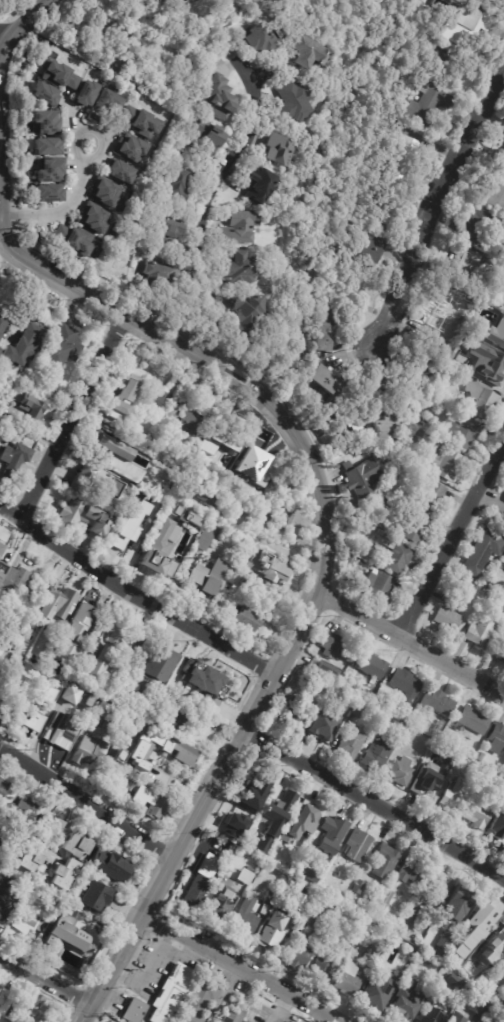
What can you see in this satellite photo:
building: (464, 26)
building: (256, 40)
road: (3, 43)
building: (447, 48)
building: (307, 52)
building: (447, 64)
road: (265, 73)
building: (59, 75)
building: (45, 94)
building: (84, 94)
building: (219, 98)
building: (293, 100)
road: (0, 101)
building: (426, 104)
building: (102, 107)
building: (143, 122)
building: (44, 123)
building: (205, 135)
building: (45, 147)
building: (131, 150)
building: (281, 153)
building: (400, 159)
building: (503, 161)
building: (48, 170)
building: (118, 172)
road: (220, 175)
building: (179, 185)
building: (260, 186)
building: (46, 193)
building: (103, 193)
building: (494, 198)
road: (433, 206)
road: (67, 207)
building: (384, 212)
road: (0, 220)
building: (92, 220)
building: (477, 226)
building: (238, 227)
building: (169, 234)
building: (74, 240)
building: (368, 251)
building: (465, 262)
building: (240, 270)
building: (164, 275)
building: (443, 311)
building: (246, 314)
building: (2, 322)
road: (193, 322)
road: (212, 331)
building: (322, 333)
building: (479, 333)
building: (502, 333)
building: (24, 345)
building: (503, 346)
building: (61, 349)
road: (214, 364)
building: (424, 371)
building: (496, 372)
building: (326, 378)
building: (18, 390)
building: (57, 396)
building: (121, 400)
building: (481, 400)
building: (153, 401)
building: (440, 405)
building: (30, 411)
road: (71, 417)
building: (190, 418)
building: (344, 420)
building: (424, 422)
building: (384, 425)
building: (464, 433)
building: (146, 439)
building: (227, 442)
building: (331, 451)
building: (108, 457)
building: (14, 460)
building: (256, 462)
building: (447, 464)
building: (361, 478)
building: (395, 478)
building: (92, 483)
building: (123, 487)
building: (183, 492)
building: (206, 496)
building: (431, 496)
road: (491, 498)
building: (114, 510)
building: (265, 512)
building: (167, 514)
building: (84, 517)
building: (186, 517)
building: (284, 519)
building: (415, 529)
building: (364, 531)
building: (379, 533)
building: (392, 533)
building: (205, 536)
road: (452, 537)
road: (275, 543)
building: (125, 545)
building: (1, 548)
building: (483, 552)
building: (0, 555)
building: (164, 556)
building: (398, 559)
building: (349, 561)
building: (267, 567)
building: (1, 568)
building: (206, 580)
building: (492, 585)
building: (15, 586)
building: (377, 587)
building: (257, 591)
road: (135, 592)
building: (58, 600)
building: (446, 618)
building: (243, 619)
building: (479, 632)
building: (71, 638)
road: (411, 640)
building: (20, 641)
building: (138, 643)
building: (45, 644)
building: (336, 647)
building: (499, 649)
building: (102, 652)
building: (160, 664)
building: (371, 666)
building: (325, 670)
building: (10, 672)
building: (201, 677)
building: (295, 681)
building: (404, 683)
building: (25, 684)
building: (343, 684)
building: (355, 687)
building: (137, 691)
building: (205, 696)
building: (67, 697)
building: (87, 702)
building: (437, 702)
building: (359, 709)
building: (99, 712)
building: (294, 714)
building: (26, 719)
building: (173, 720)
building: (471, 721)
building: (382, 722)
building: (412, 724)
building: (321, 726)
building: (439, 726)
building: (59, 730)
building: (496, 736)
building: (408, 737)
building: (349, 744)
building: (147, 751)
building: (436, 751)
building: (87, 753)
building: (376, 755)
building: (481, 757)
building: (112, 758)
building: (110, 766)
building: (463, 767)
building: (400, 771)
building: (486, 777)
building: (425, 786)
building: (3, 788)
building: (253, 790)
building: (454, 796)
road: (87, 798)
building: (145, 798)
building: (285, 798)
road: (375, 803)
road: (201, 805)
building: (21, 810)
building: (481, 810)
building: (304, 814)
building: (234, 825)
building: (259, 825)
building: (497, 826)
building: (331, 834)
building: (39, 841)
building: (357, 845)
building: (2, 847)
building: (228, 847)
building: (274, 853)
building: (69, 860)
building: (385, 861)
building: (109, 865)
building: (207, 866)
building: (411, 871)
building: (296, 874)
building: (244, 877)
building: (310, 879)
building: (438, 885)
building: (358, 886)
building: (29, 891)
building: (195, 893)
building: (339, 895)
building: (95, 897)
building: (387, 897)
building: (7, 900)
building: (267, 903)
building: (456, 903)
building: (221, 905)
building: (414, 906)
building: (67, 909)
building: (294, 910)
building: (246, 917)
building: (311, 917)
building: (26, 918)
building: (482, 919)
building: (42, 926)
building: (336, 929)
building: (270, 934)
building: (62, 936)
building: (444, 939)
building: (495, 944)
building: (343, 949)
building: (371, 953)
building: (299, 955)
building: (503, 959)
building: (459, 961)
building: (325, 964)
building: (502, 964)
road: (245, 965)
building: (470, 966)
road: (44, 976)
building: (347, 978)
building: (454, 981)
building: (494, 989)
building: (379, 990)
building: (432, 993)
building: (173, 994)
building: (501, 1000)
building: (199, 1001)
building: (8, 1005)
building: (478, 1006)
building: (136, 1011)
building: (402, 1013)
building: (233, 1014)
building: (431, 1015)
building: (491, 1016)
building: (456, 1018)
building: (246, 1021)

